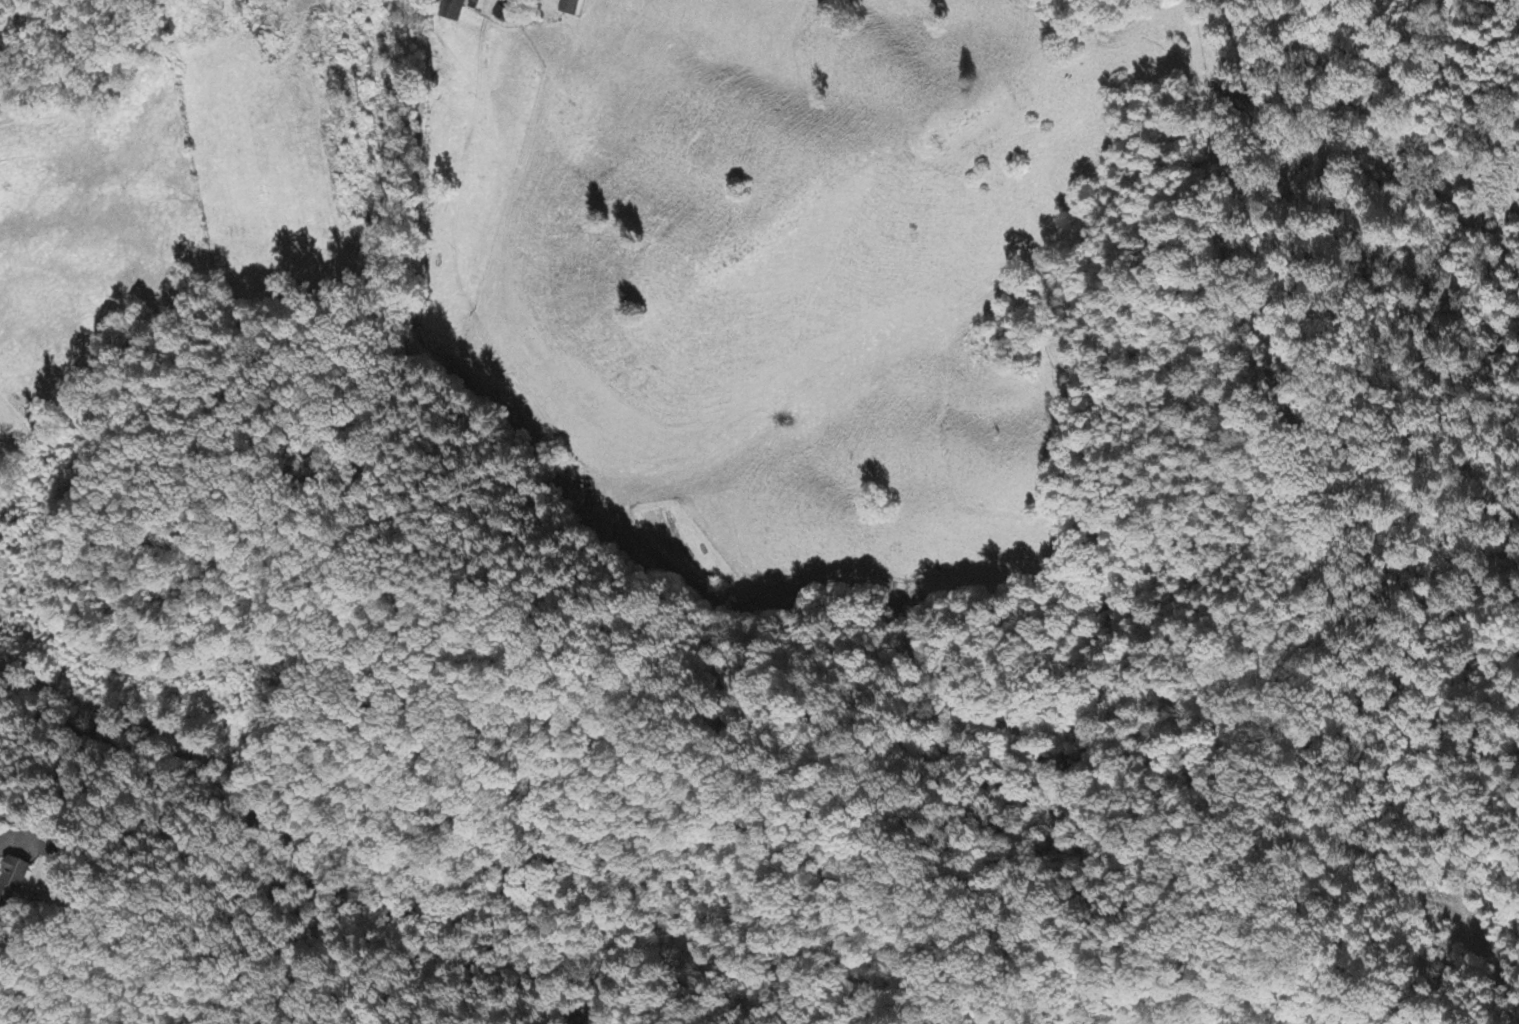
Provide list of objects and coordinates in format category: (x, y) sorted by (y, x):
building: (569, 7)
building: (454, 11)
building: (502, 15)
building: (52, 851)
building: (13, 884)

